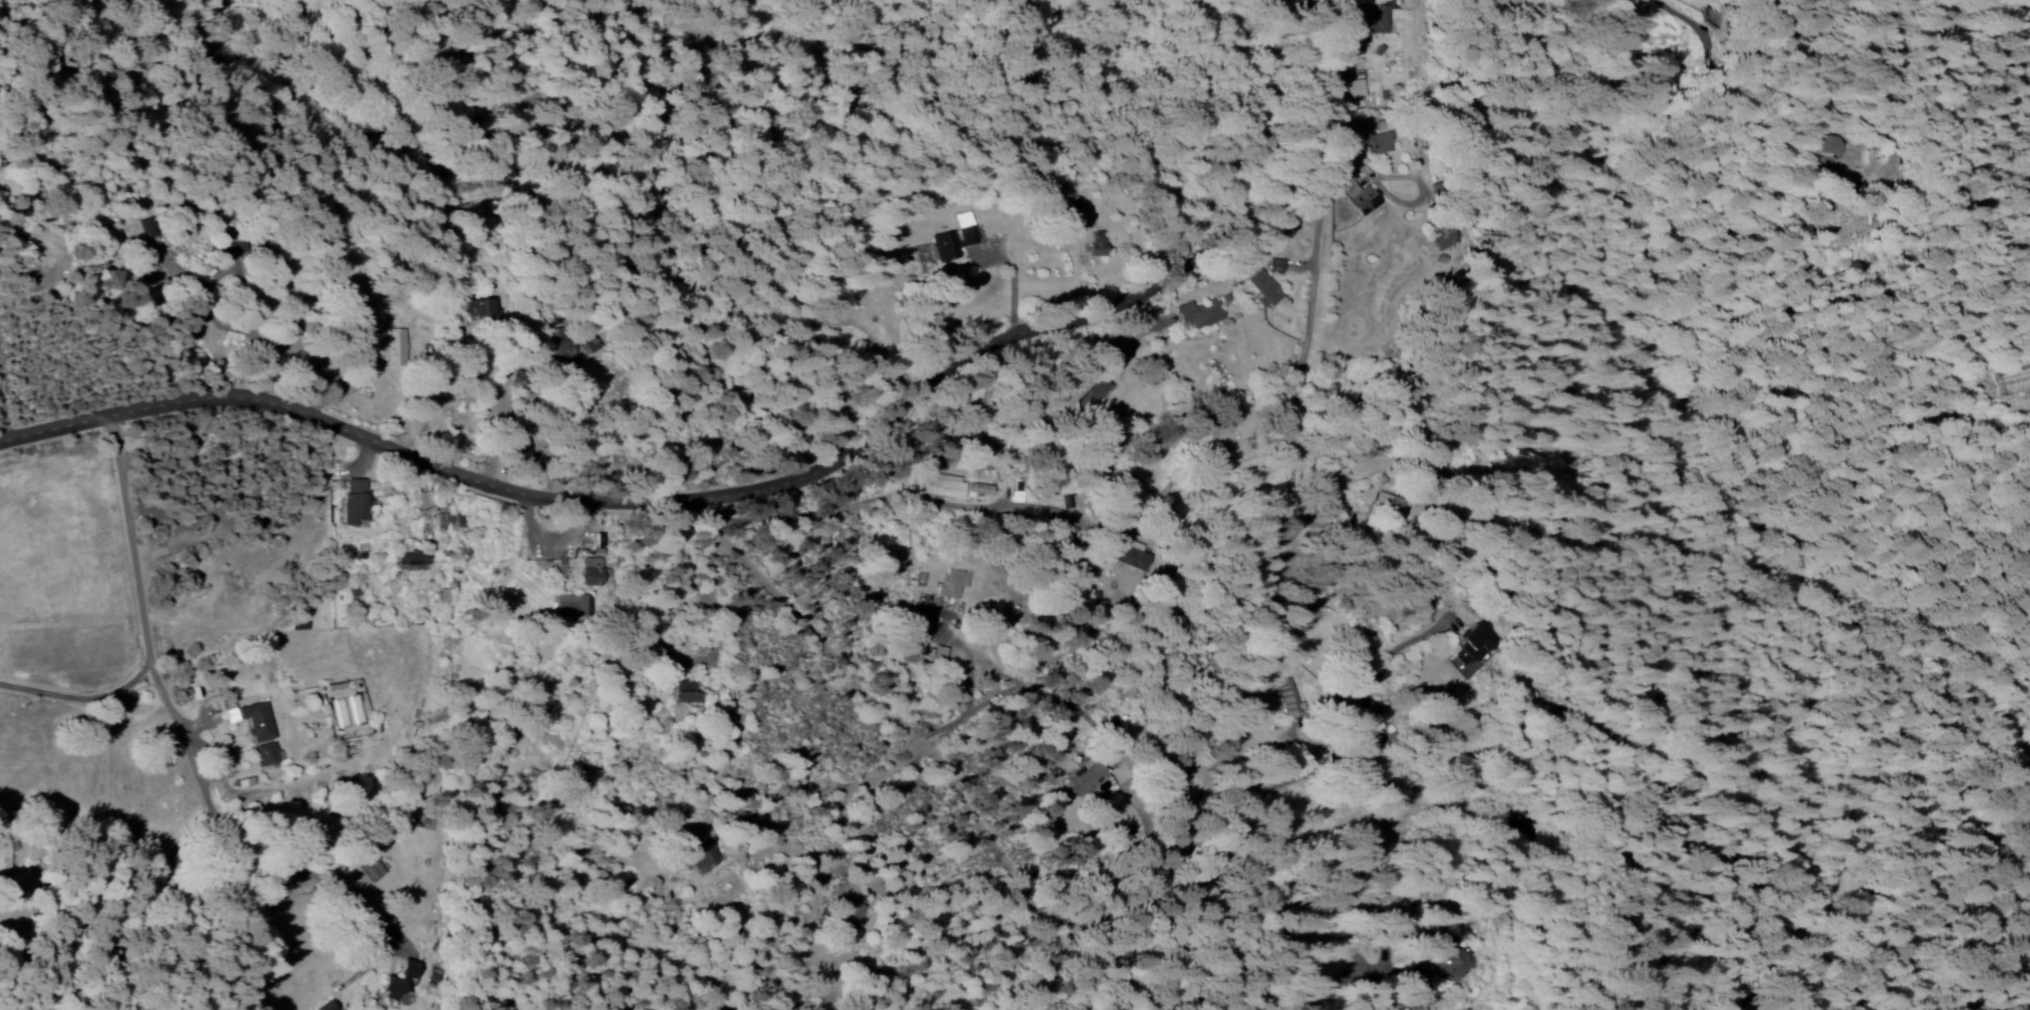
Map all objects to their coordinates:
road: (1819, 5)
building: (1718, 17)
building: (1378, 20)
building: (1353, 88)
building: (1378, 142)
building: (1831, 143)
building: (1361, 198)
building: (151, 226)
building: (1448, 235)
building: (955, 237)
building: (1096, 244)
building: (1275, 265)
building: (1263, 286)
building: (481, 308)
building: (1199, 312)
building: (366, 319)
building: (589, 341)
building: (562, 343)
building: (392, 347)
building: (1094, 392)
building: (514, 445)
building: (943, 485)
road: (768, 487)
building: (980, 488)
building: (1016, 491)
building: (355, 501)
building: (1390, 506)
building: (441, 516)
building: (1132, 554)
building: (409, 557)
building: (591, 571)
building: (952, 583)
building: (571, 605)
building: (1311, 616)
building: (1474, 644)
building: (685, 692)
building: (1289, 697)
road: (1137, 709)
building: (259, 726)
building: (265, 753)
road: (931, 760)
building: (1087, 778)
building: (4, 854)
building: (701, 854)
building: (367, 866)
building: (1402, 909)
building: (851, 913)
building: (1452, 959)
building: (433, 975)
building: (399, 983)
building: (323, 1006)

